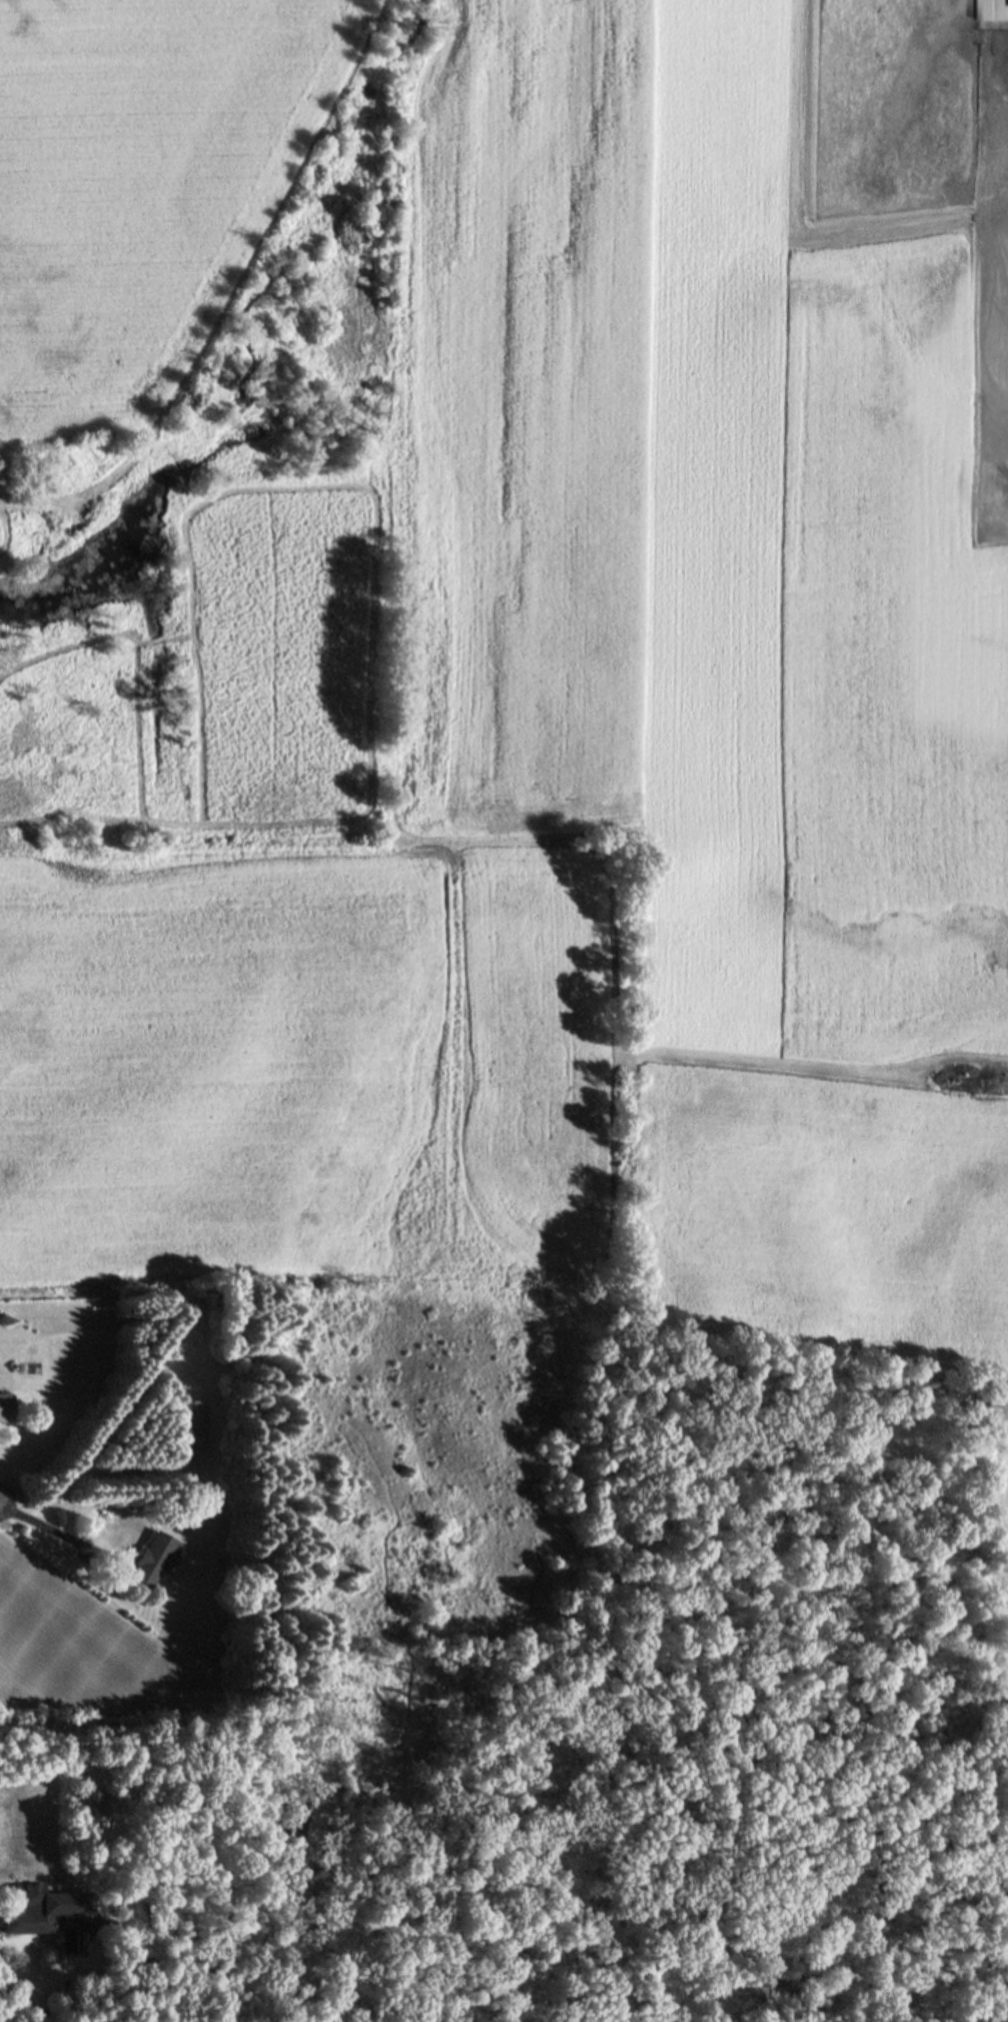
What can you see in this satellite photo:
building: (991, 9)
crop: (144, 187)
crop: (614, 741)
building: (6, 1406)
building: (191, 1426)
park: (427, 1505)
road: (58, 1533)
building: (152, 1560)
crop: (1007, 1691)
building: (48, 1909)

